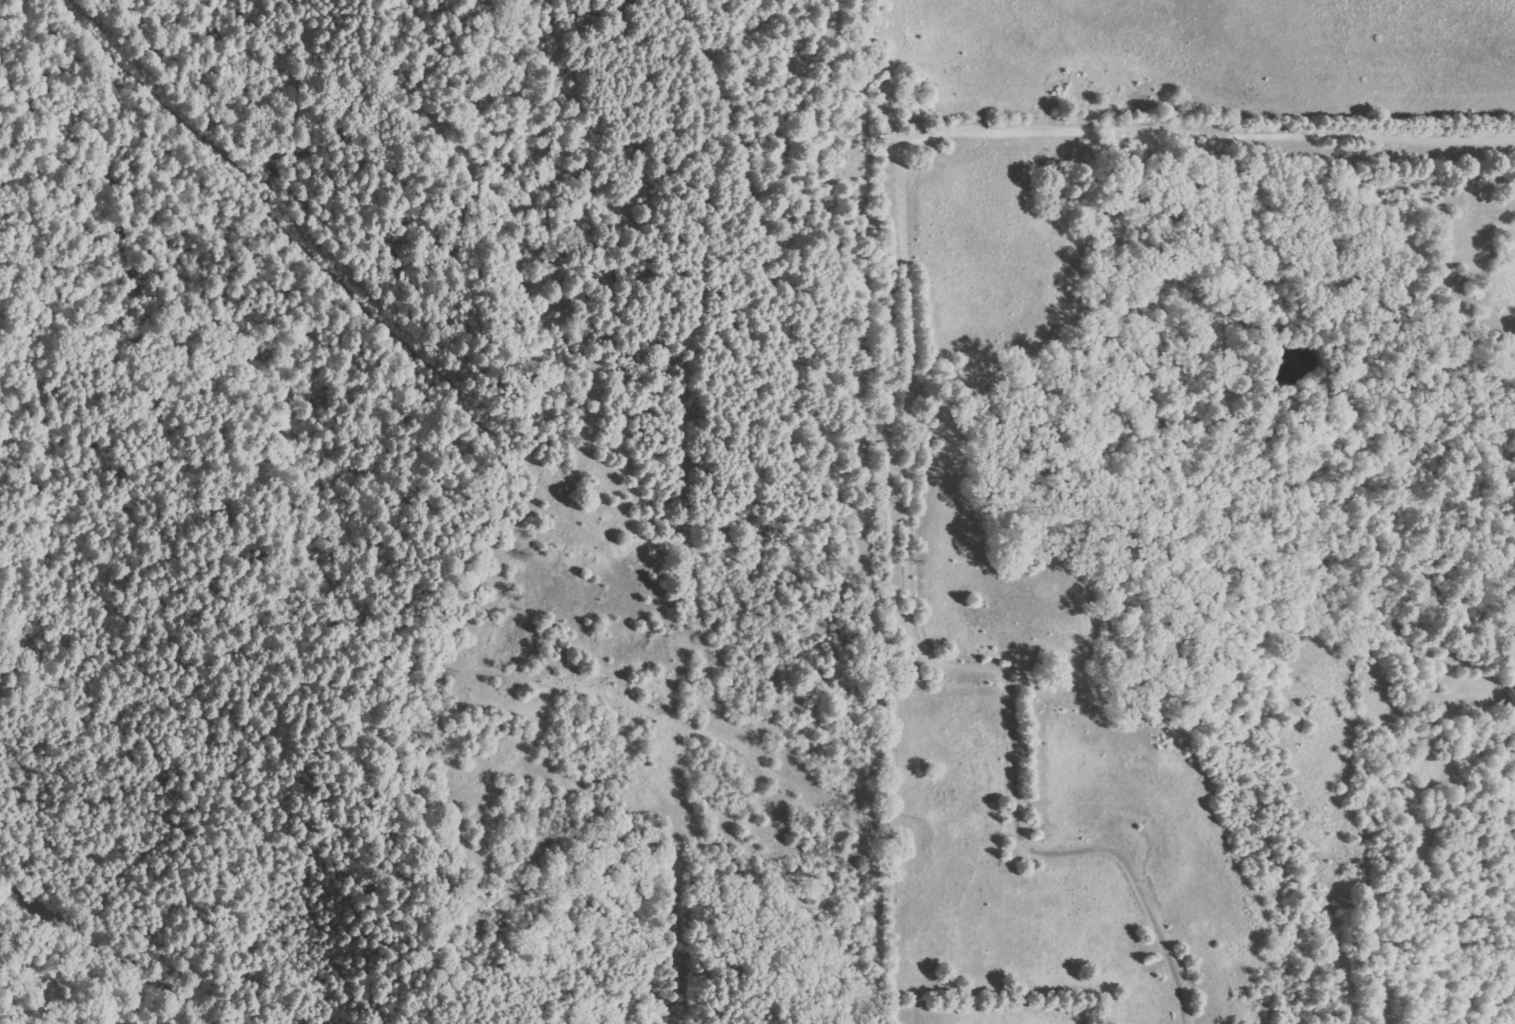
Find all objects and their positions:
road: (112, 956)

